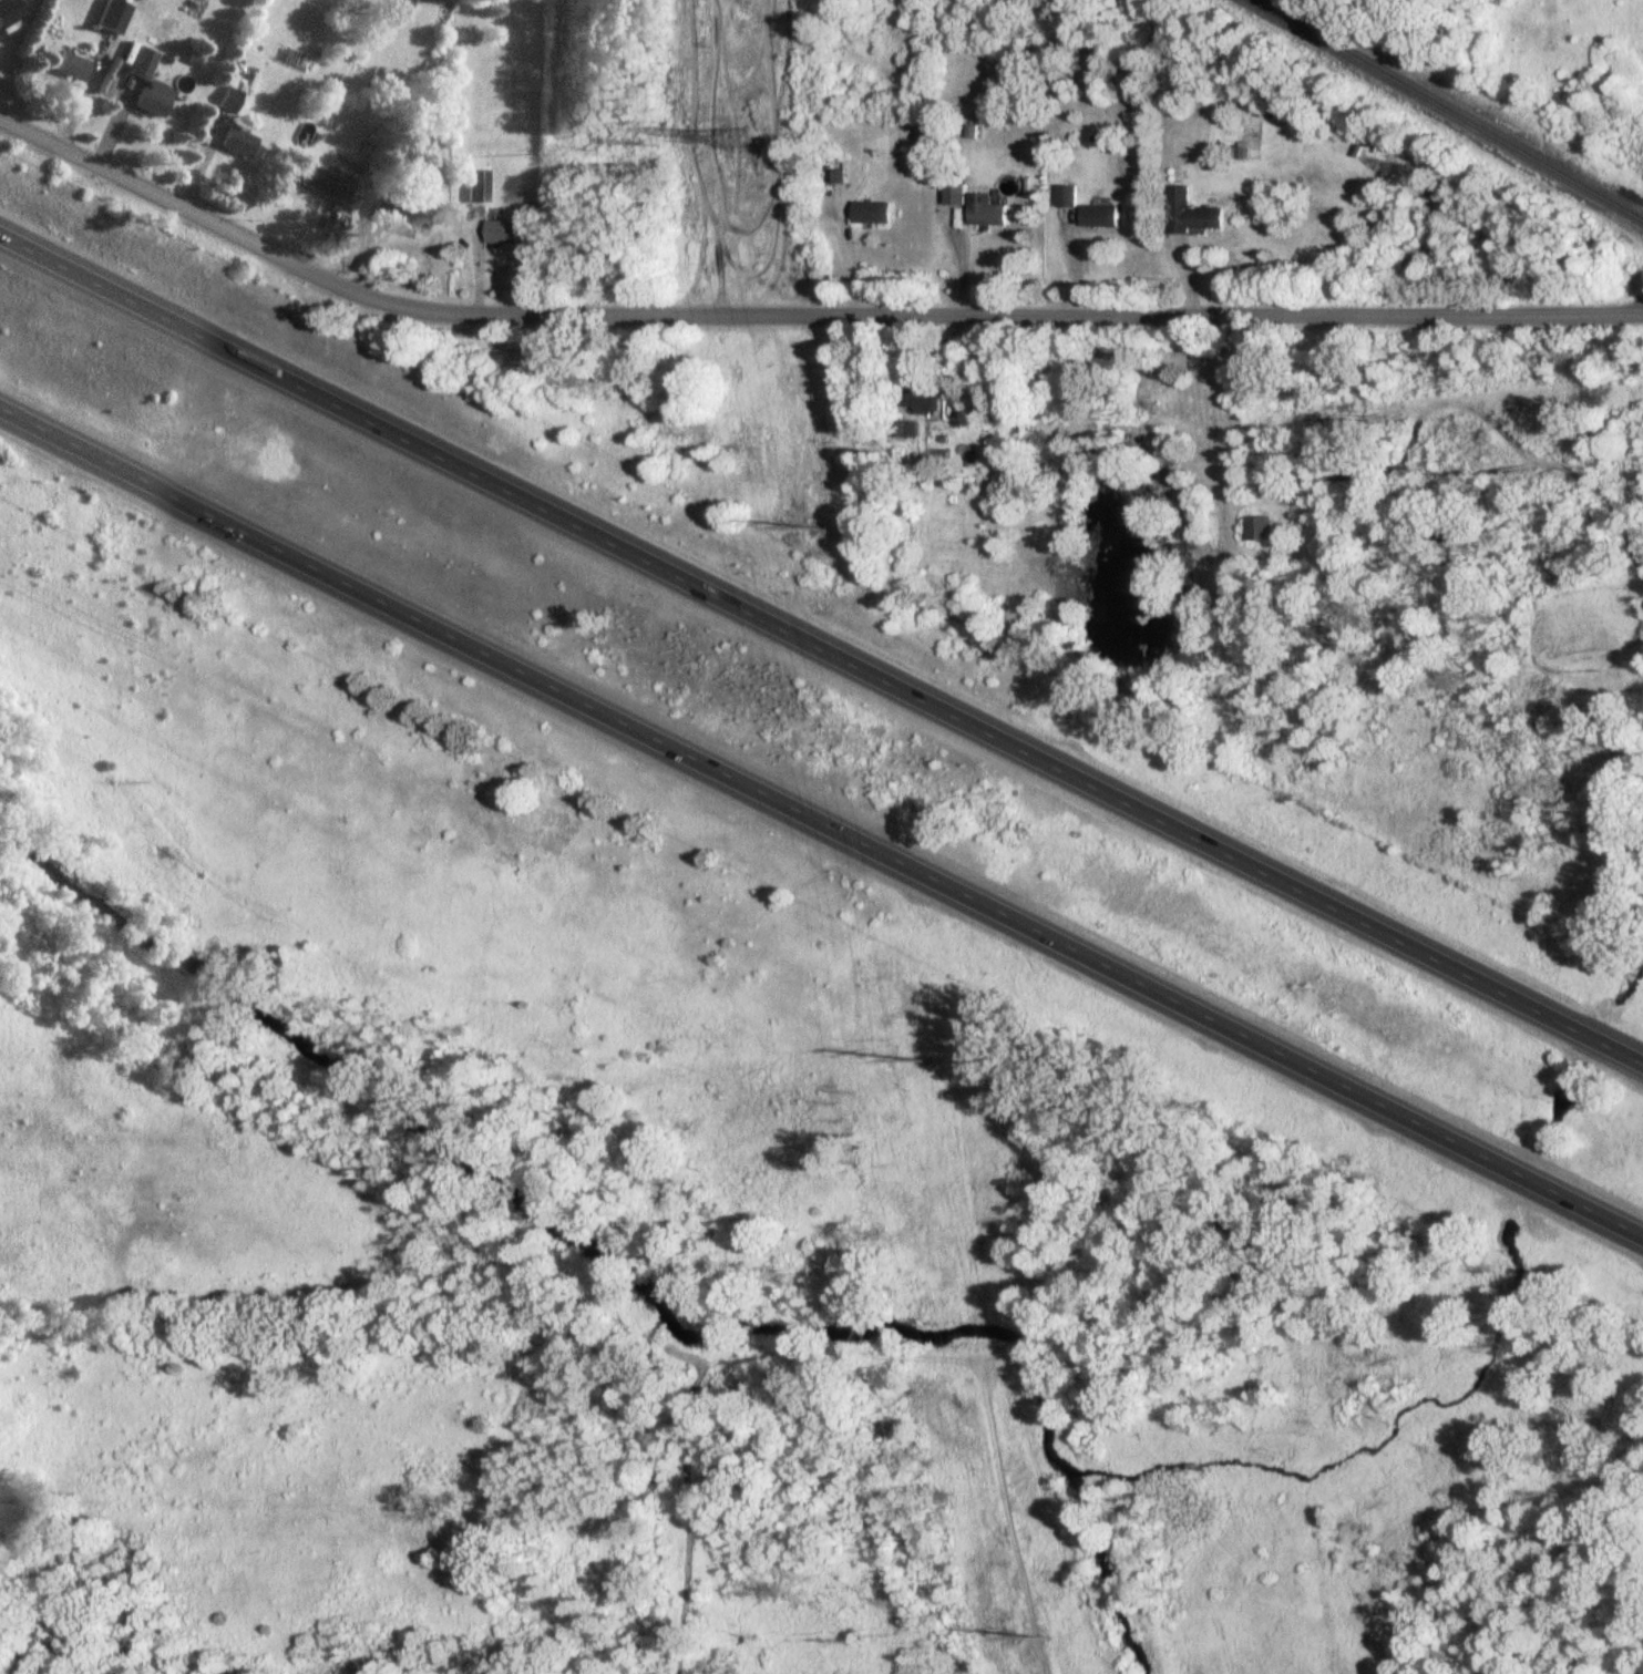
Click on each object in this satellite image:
building: (113, 17)
building: (71, 66)
road: (79, 93)
building: (230, 101)
building: (151, 103)
railway: (1451, 110)
power tower: (739, 140)
building: (239, 142)
road: (196, 162)
building: (840, 176)
building: (326, 184)
building: (479, 185)
building: (956, 195)
building: (1067, 196)
building: (986, 210)
building: (872, 213)
building: (1190, 214)
building: (1099, 216)
building: (403, 220)
building: (506, 230)
road: (962, 257)
road: (800, 310)
building: (920, 402)
building: (898, 431)
building: (971, 456)
power tower: (821, 528)
building: (1259, 528)
road: (822, 645)
road: (820, 826)
power tower: (932, 1060)
building: (1564, 1107)
power tower: (1047, 1634)

